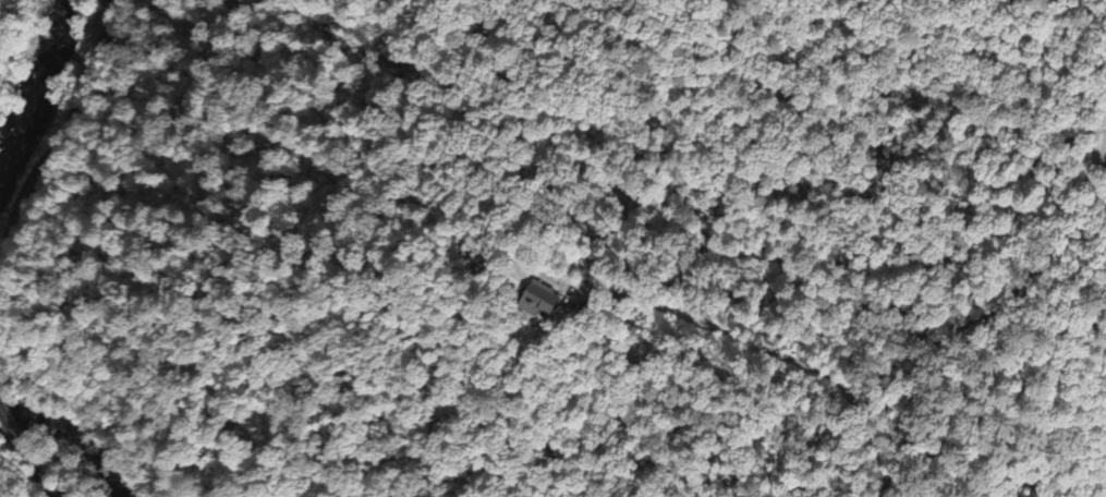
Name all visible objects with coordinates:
river: (27, 59)
road: (64, 132)
river: (69, 438)
road: (17, 440)
road: (44, 484)

